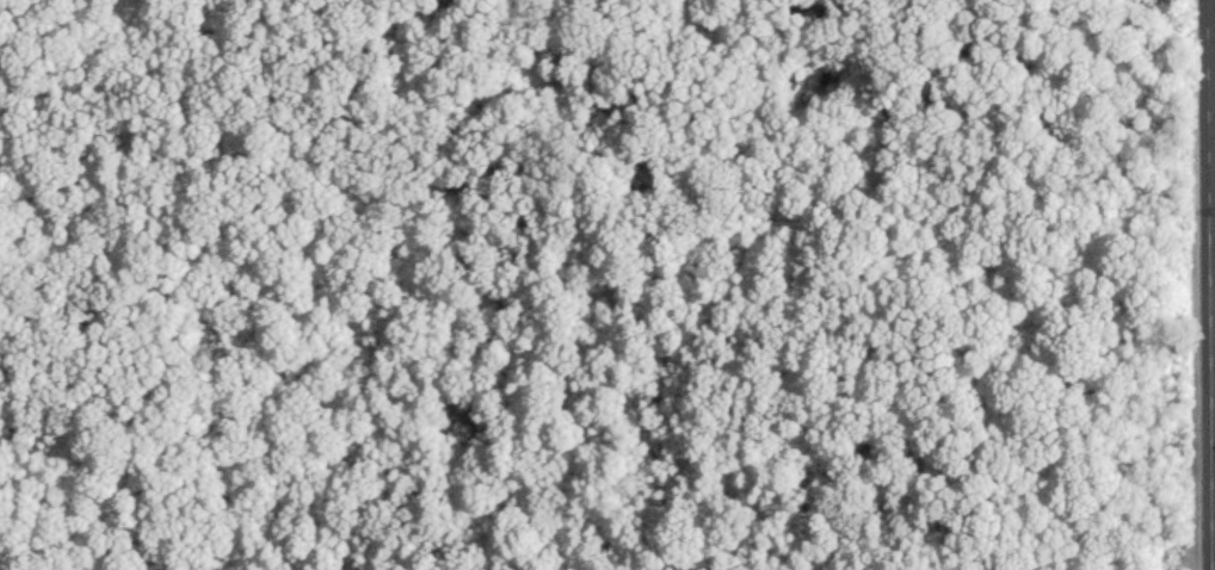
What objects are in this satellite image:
road: (1211, 48)
road: (1209, 285)
road: (1213, 367)

